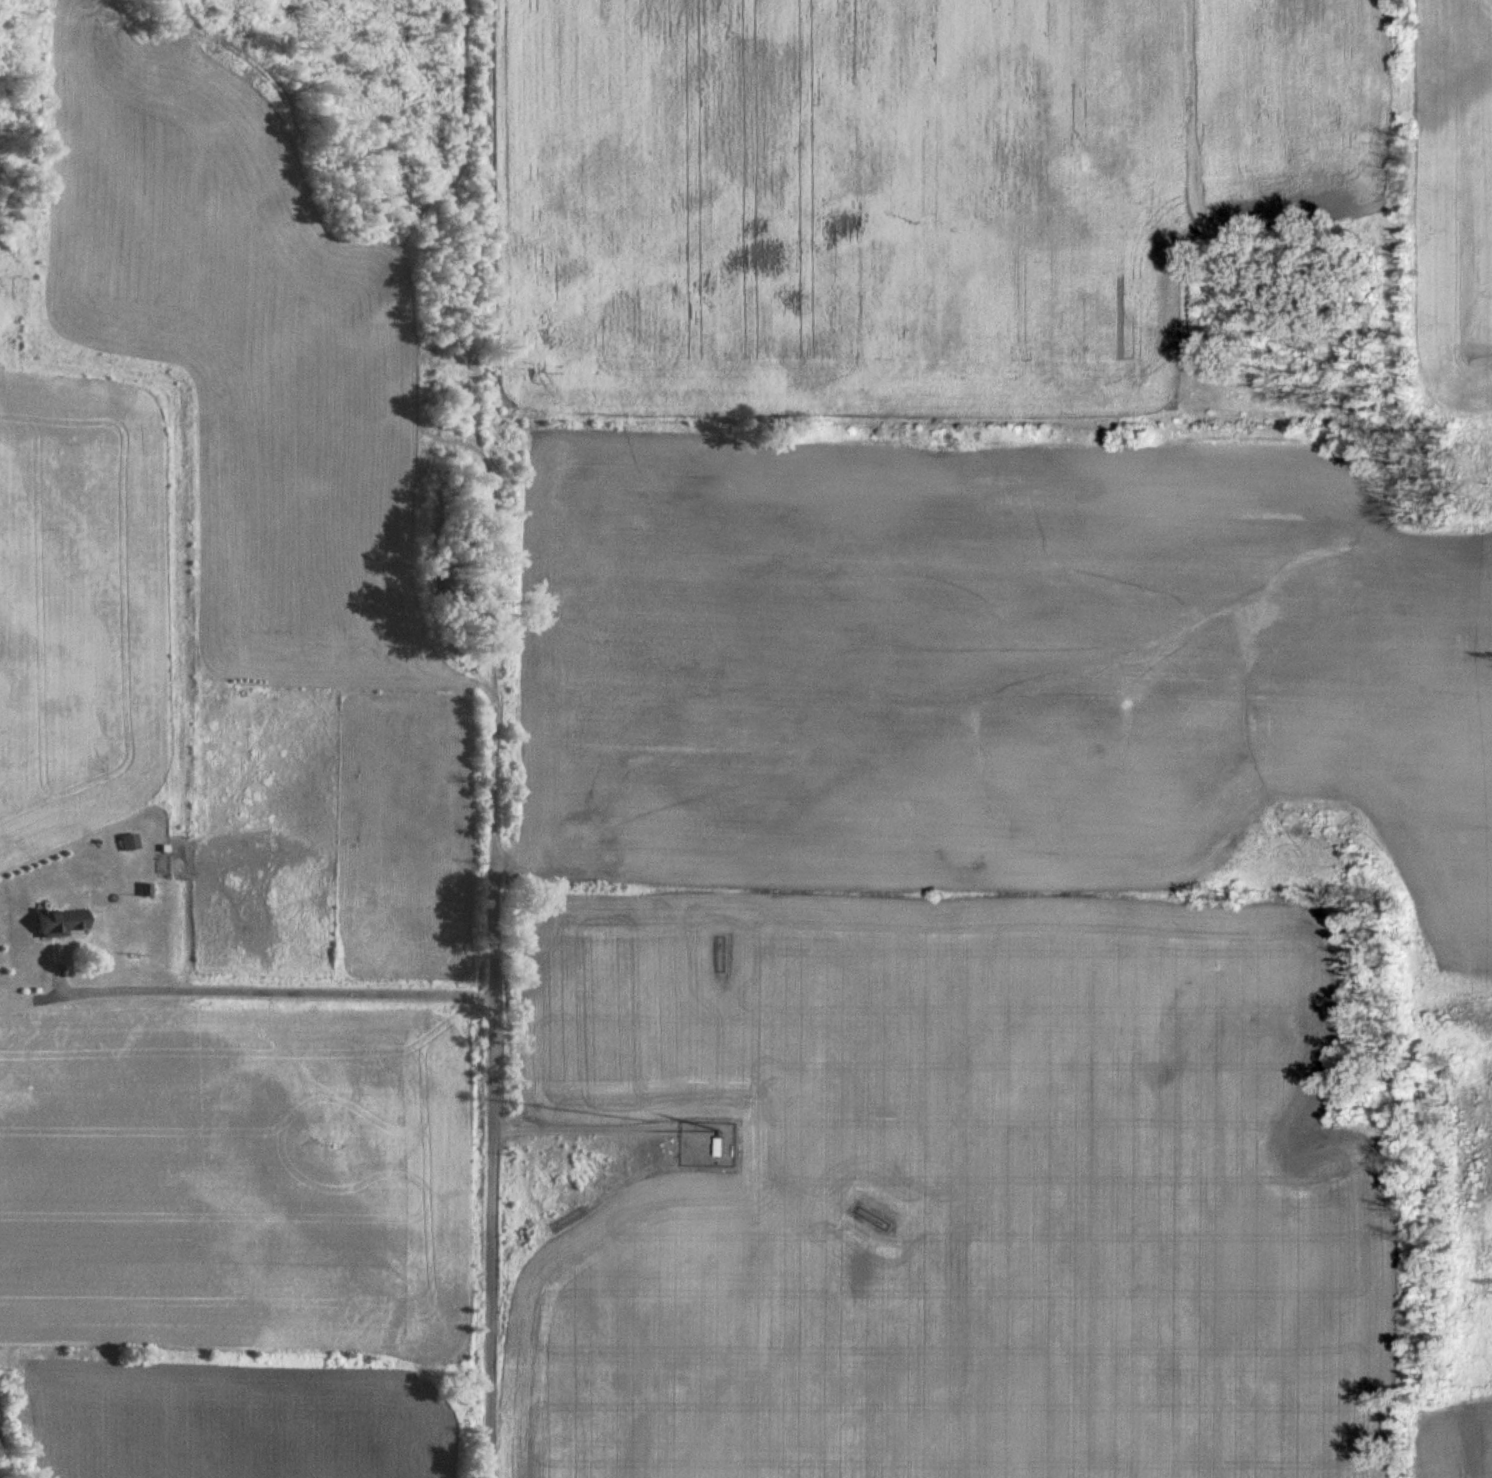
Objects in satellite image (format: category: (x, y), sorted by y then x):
building: (131, 843)
building: (65, 921)
road: (276, 992)
building: (721, 1148)
road: (492, 1239)

